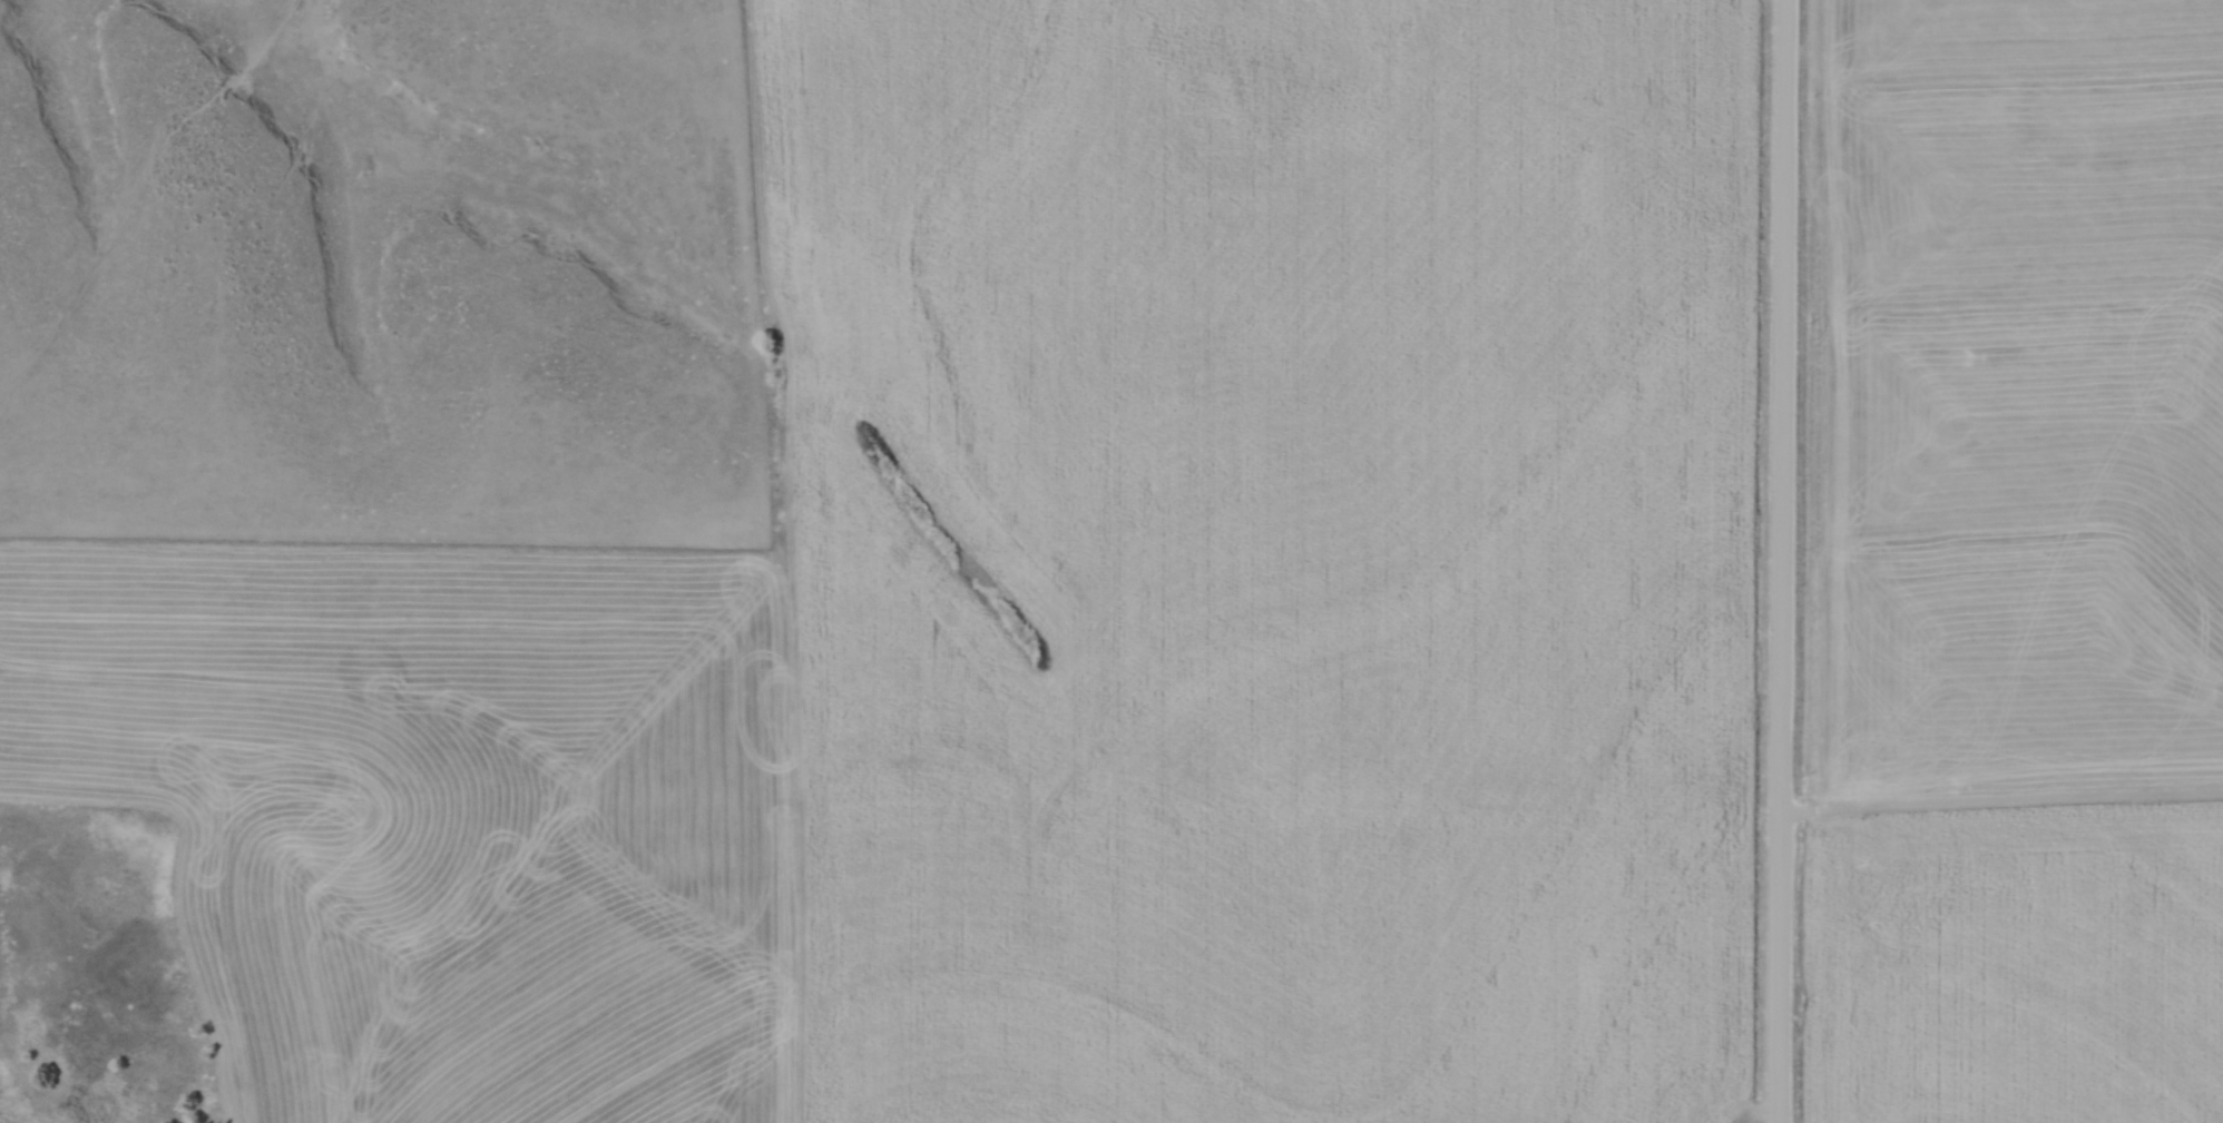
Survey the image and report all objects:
road: (1786, 561)

